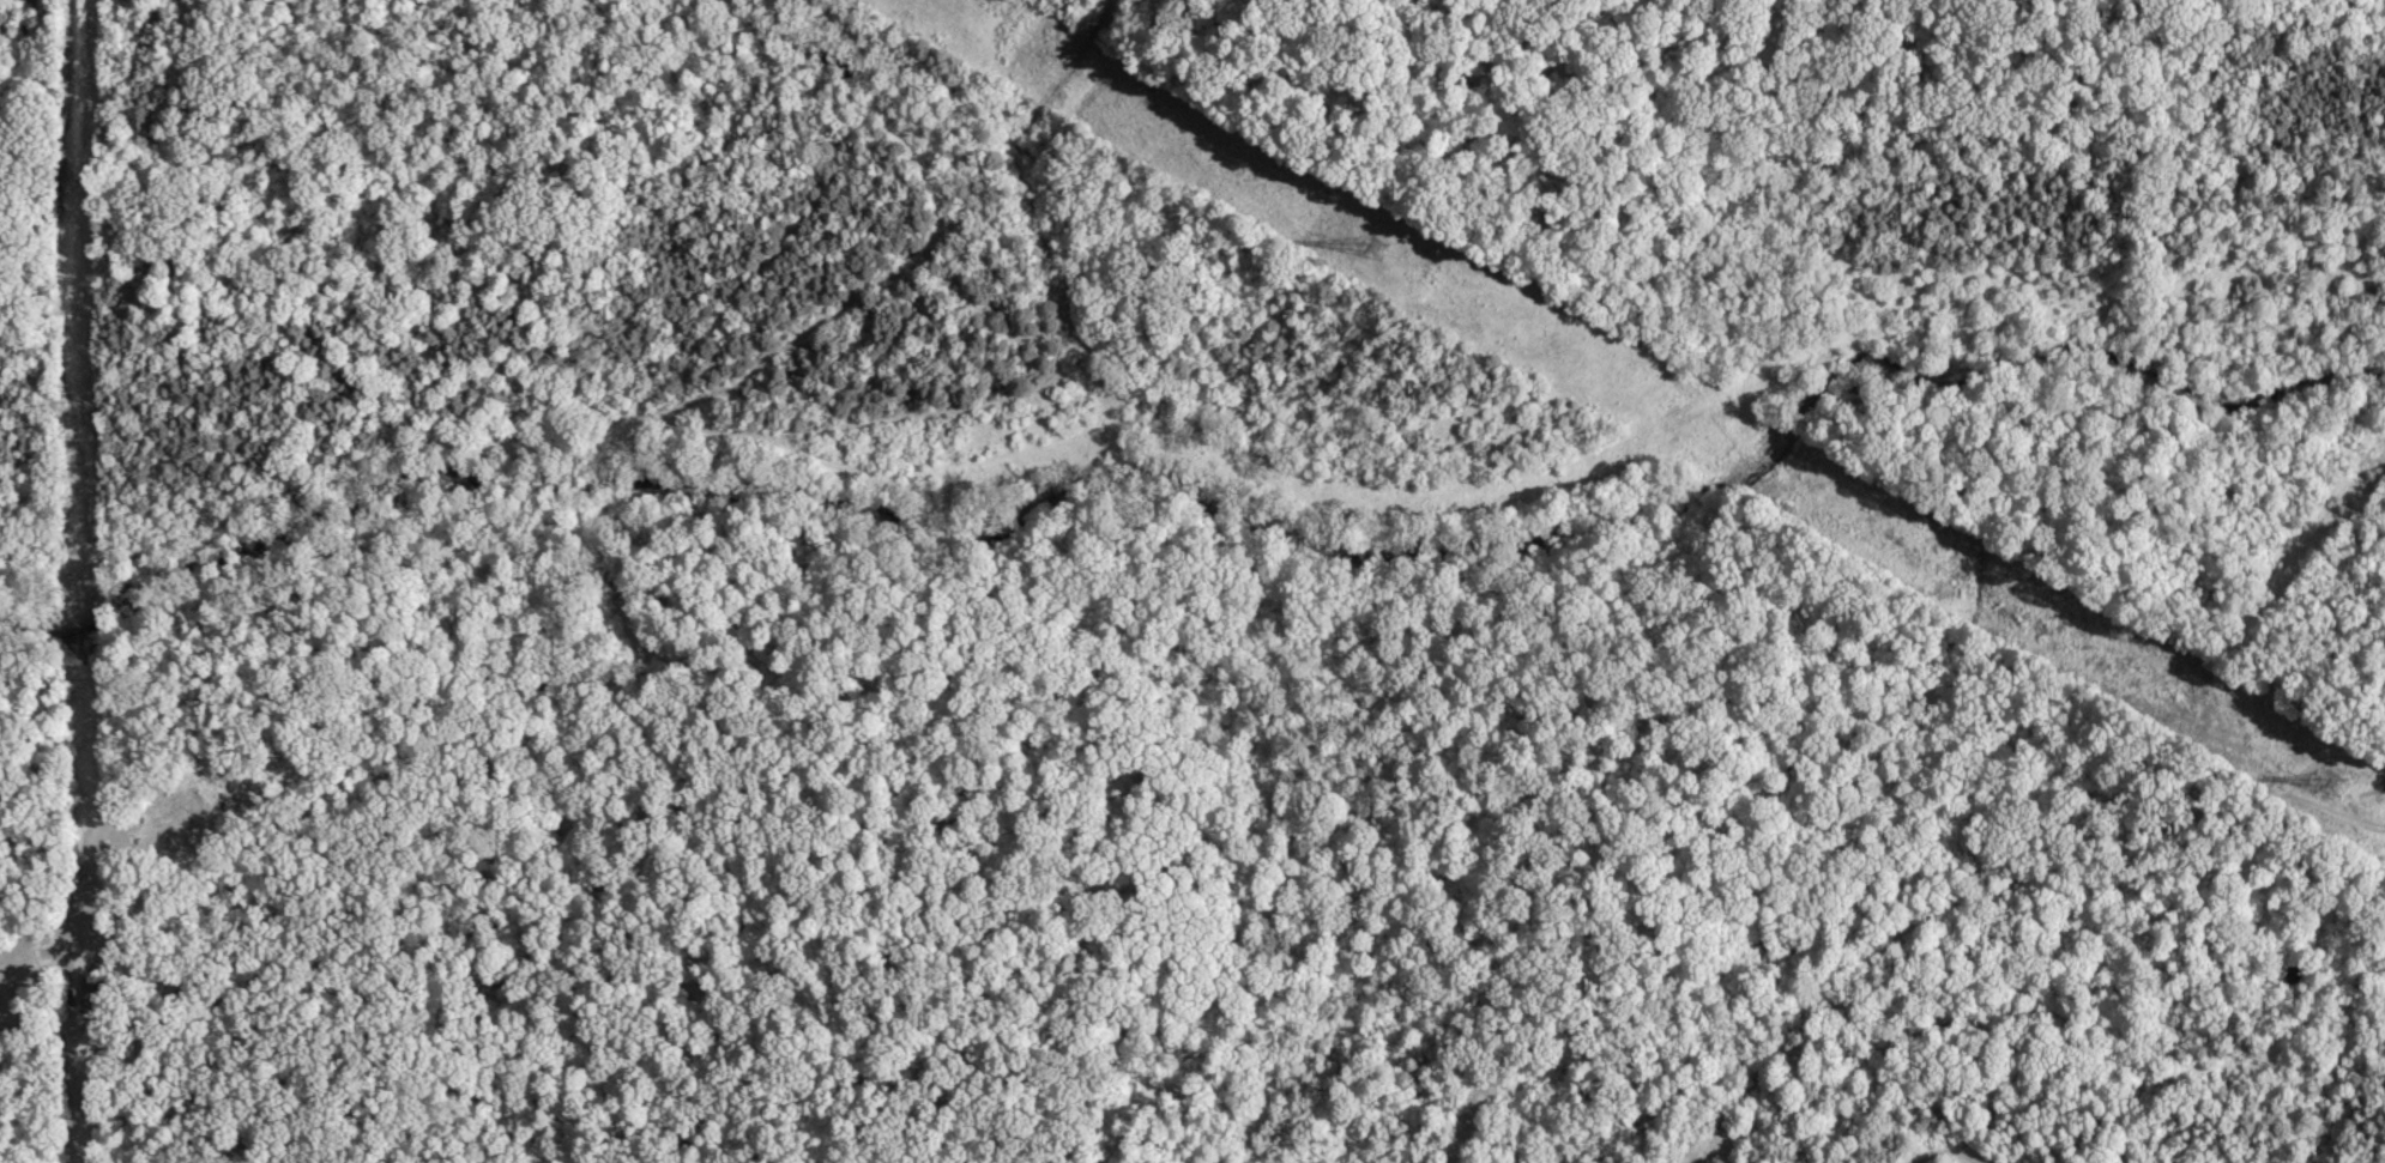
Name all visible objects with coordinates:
power tower: (1381, 237)
power tower: (2361, 776)
road: (79, 987)
building: (92, 993)
building: (105, 993)

